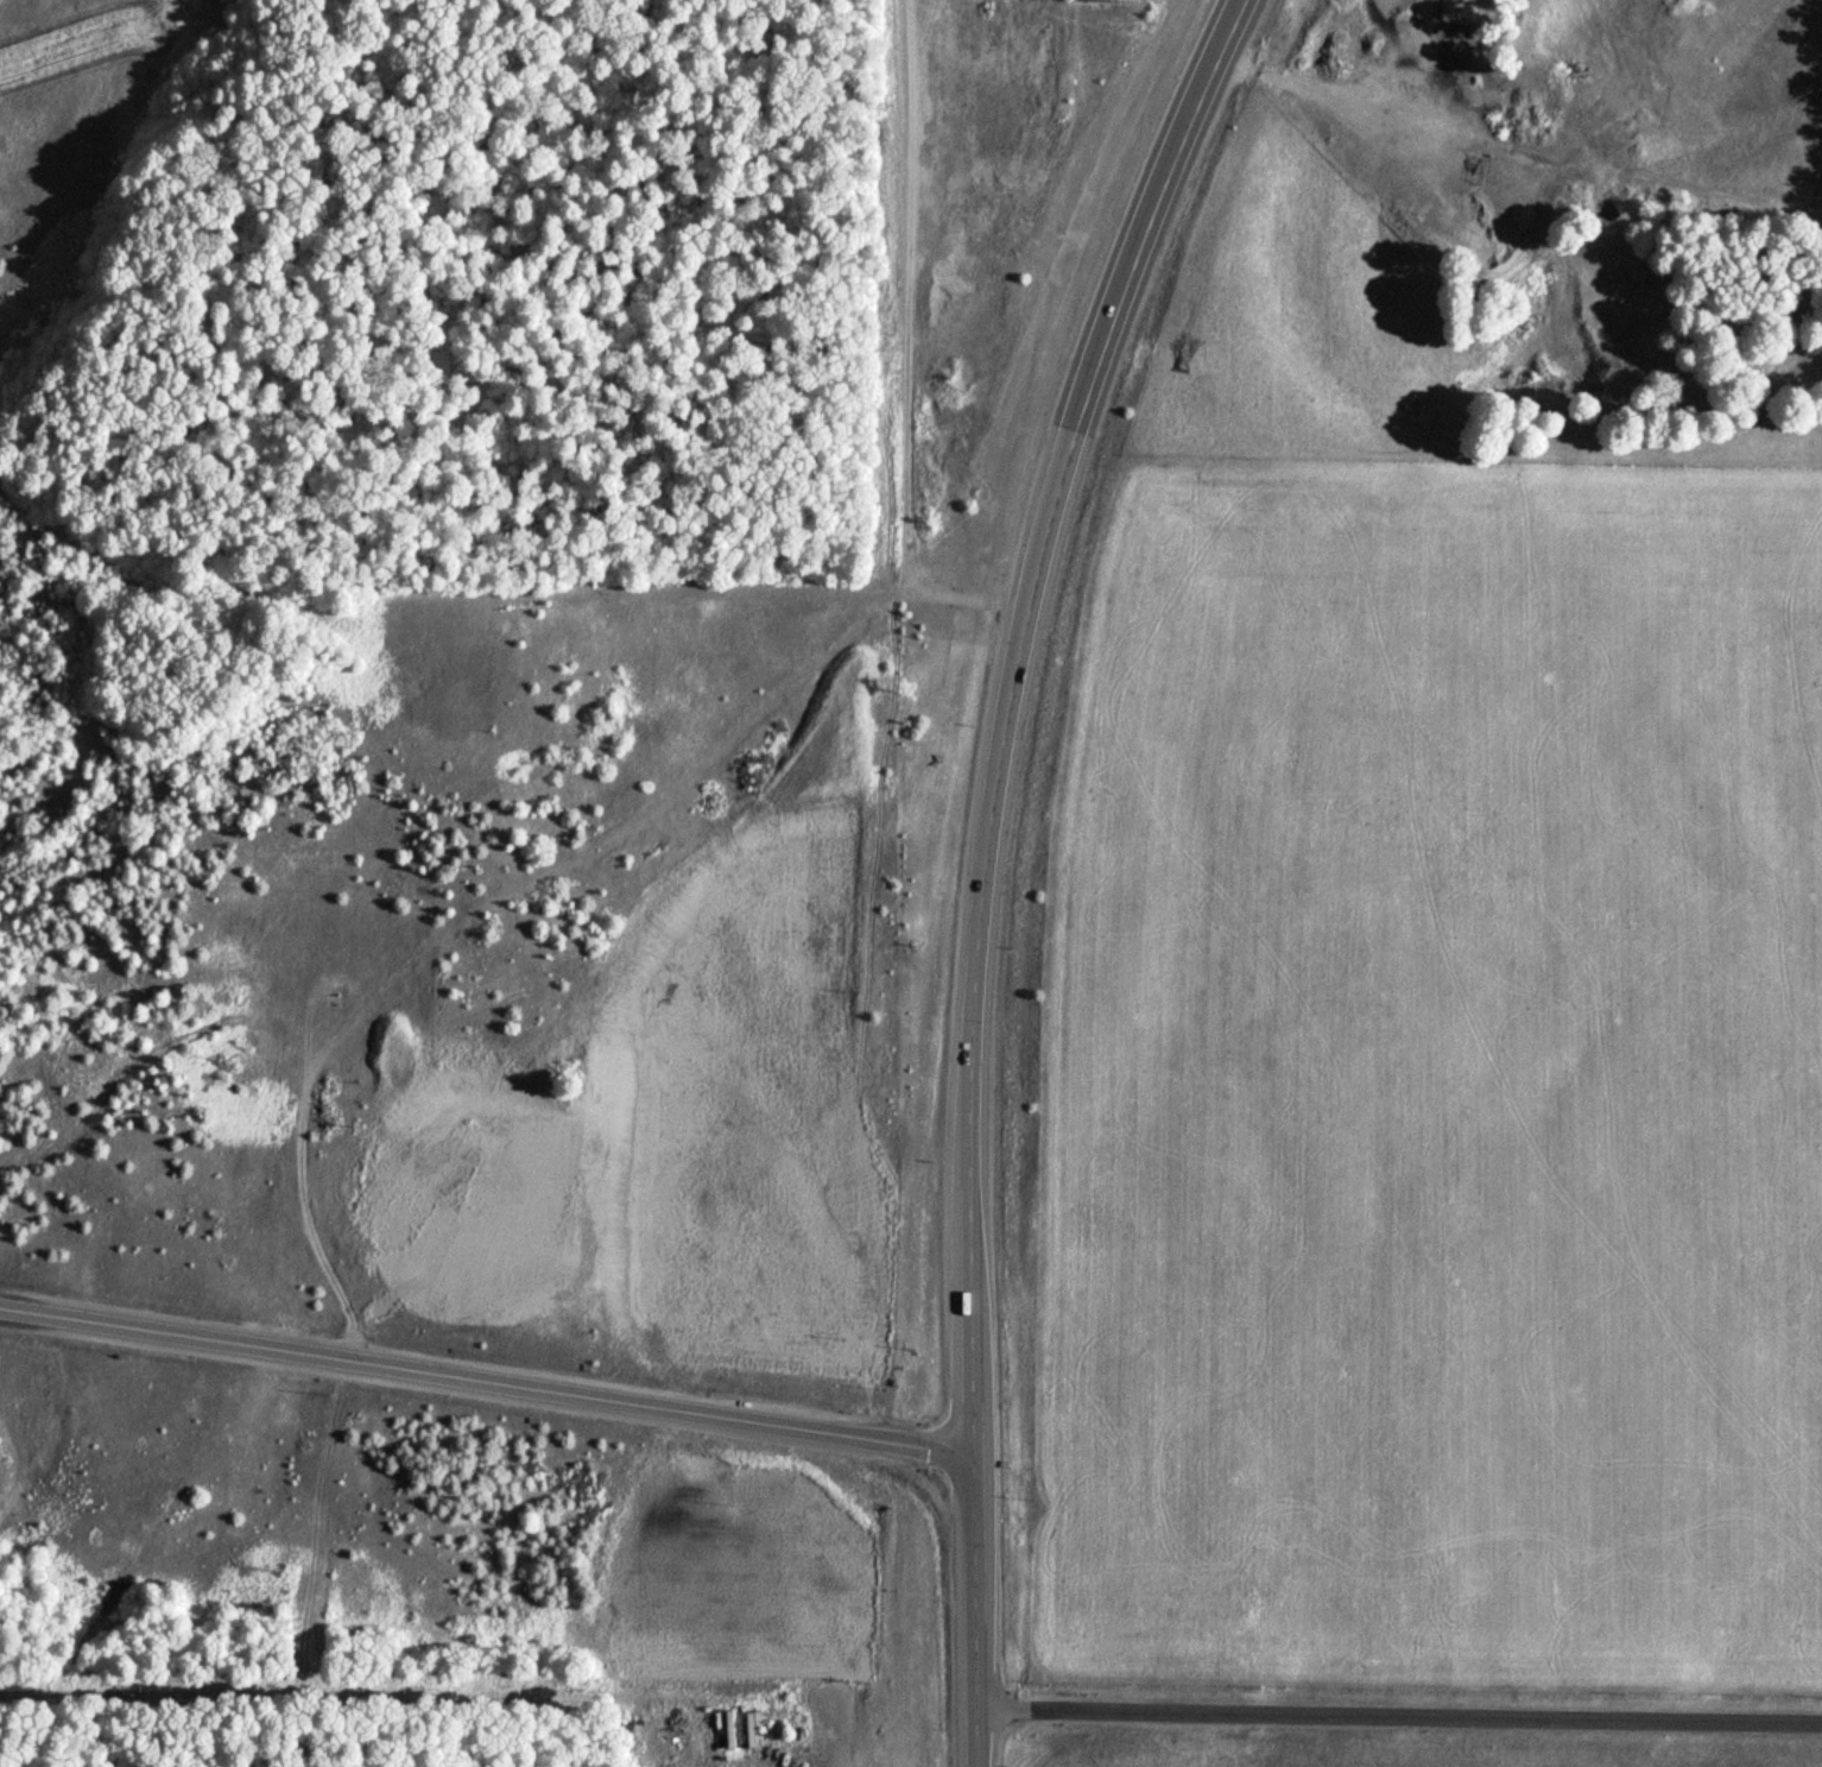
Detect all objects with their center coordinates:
road: (905, 296)
road: (676, 591)
road: (954, 600)
road: (1004, 705)
road: (635, 812)
road: (331, 973)
road: (300, 1218)
road: (485, 1376)
road: (973, 1608)
road: (1398, 1705)

